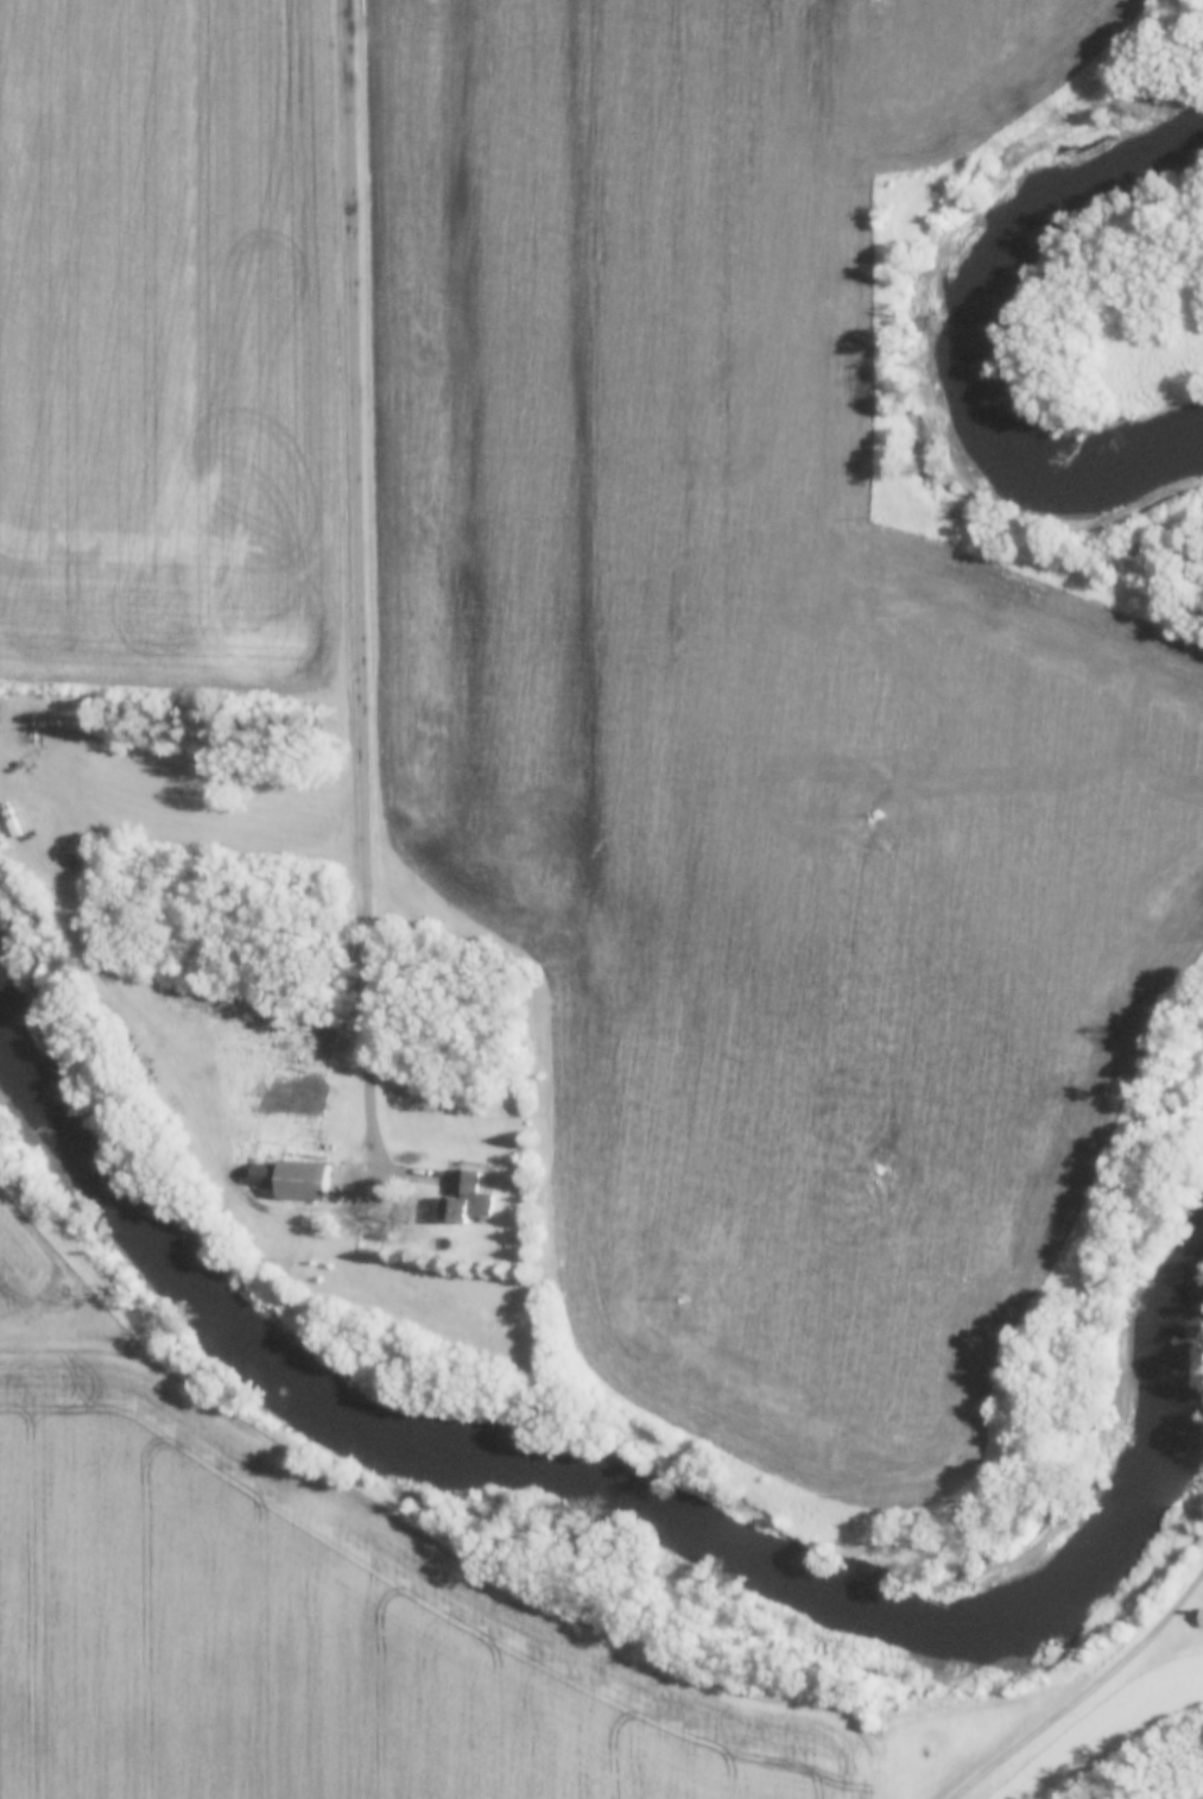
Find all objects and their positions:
river: (1008, 324)
road: (360, 567)
building: (311, 1087)
building: (398, 1092)
building: (296, 1181)
road: (386, 1189)
building: (462, 1193)
river: (581, 1464)
building: (1199, 1617)
road: (1088, 1696)

